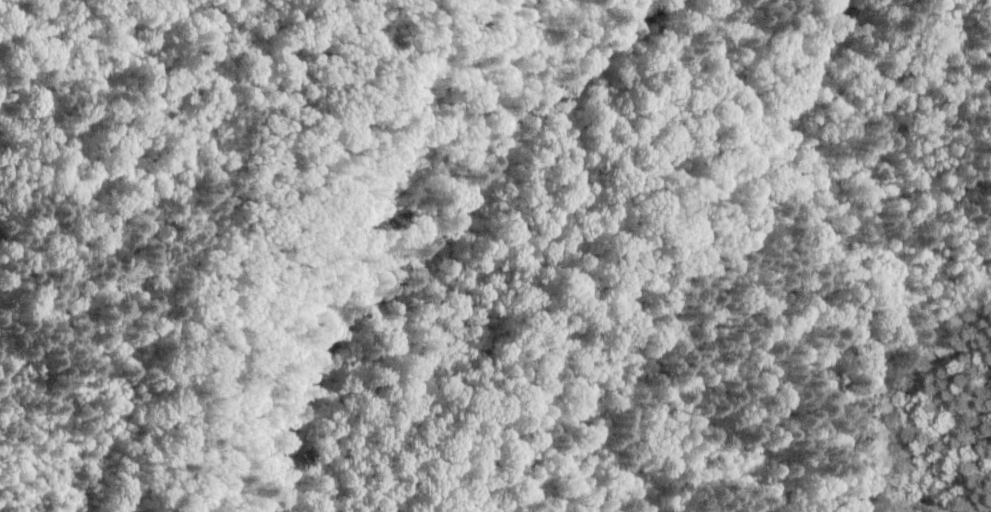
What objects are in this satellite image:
road: (986, 51)
road: (186, 253)

